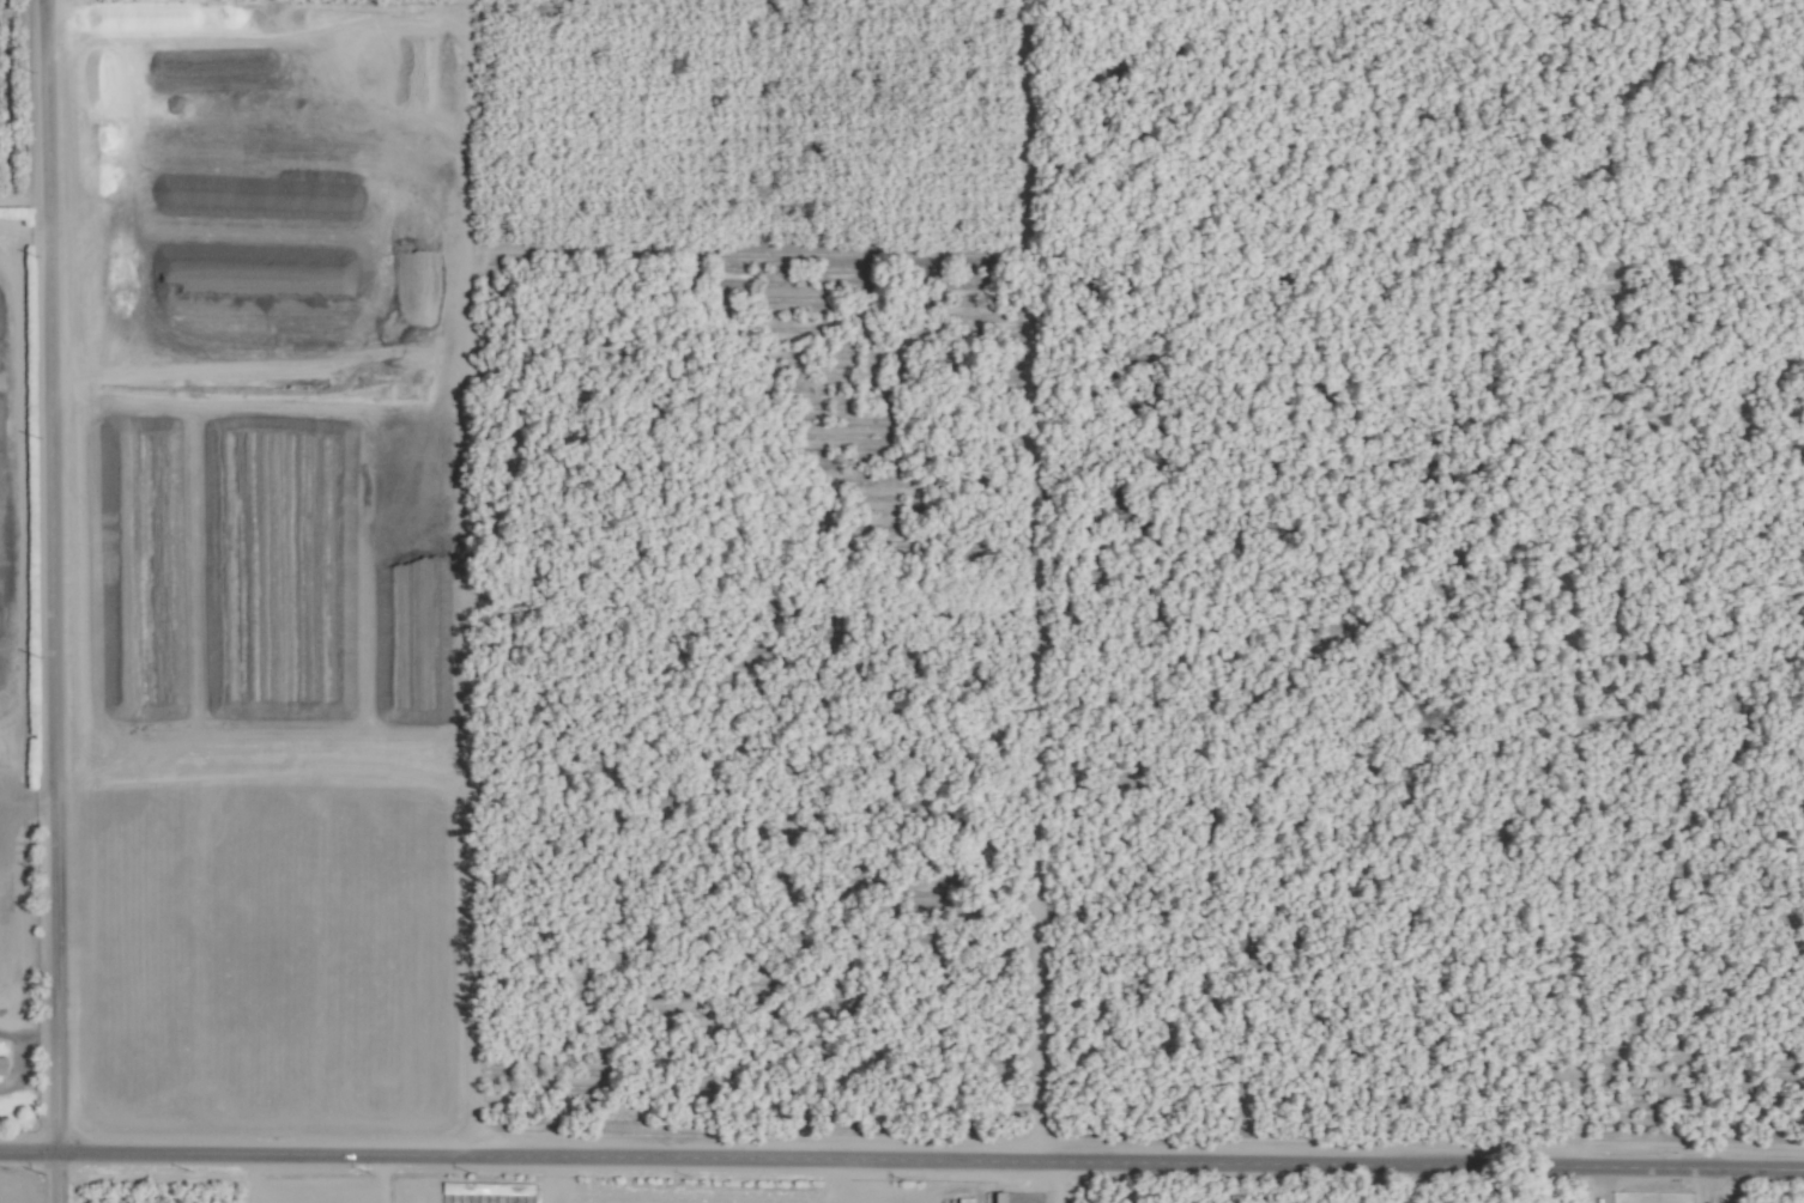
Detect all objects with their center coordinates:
road: (56, 601)
crop: (902, 601)
road: (29, 803)
building: (5, 1064)
road: (901, 1156)
building: (993, 1197)

